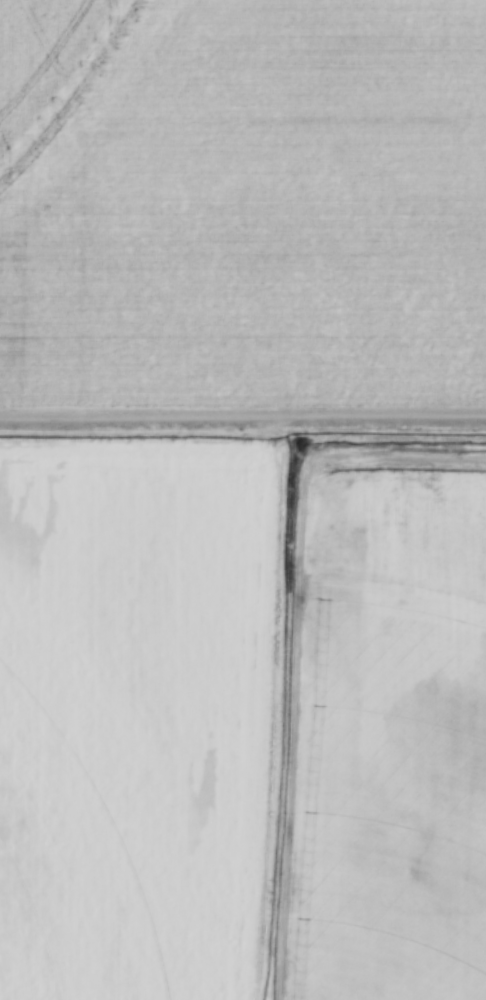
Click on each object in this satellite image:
road: (242, 415)

